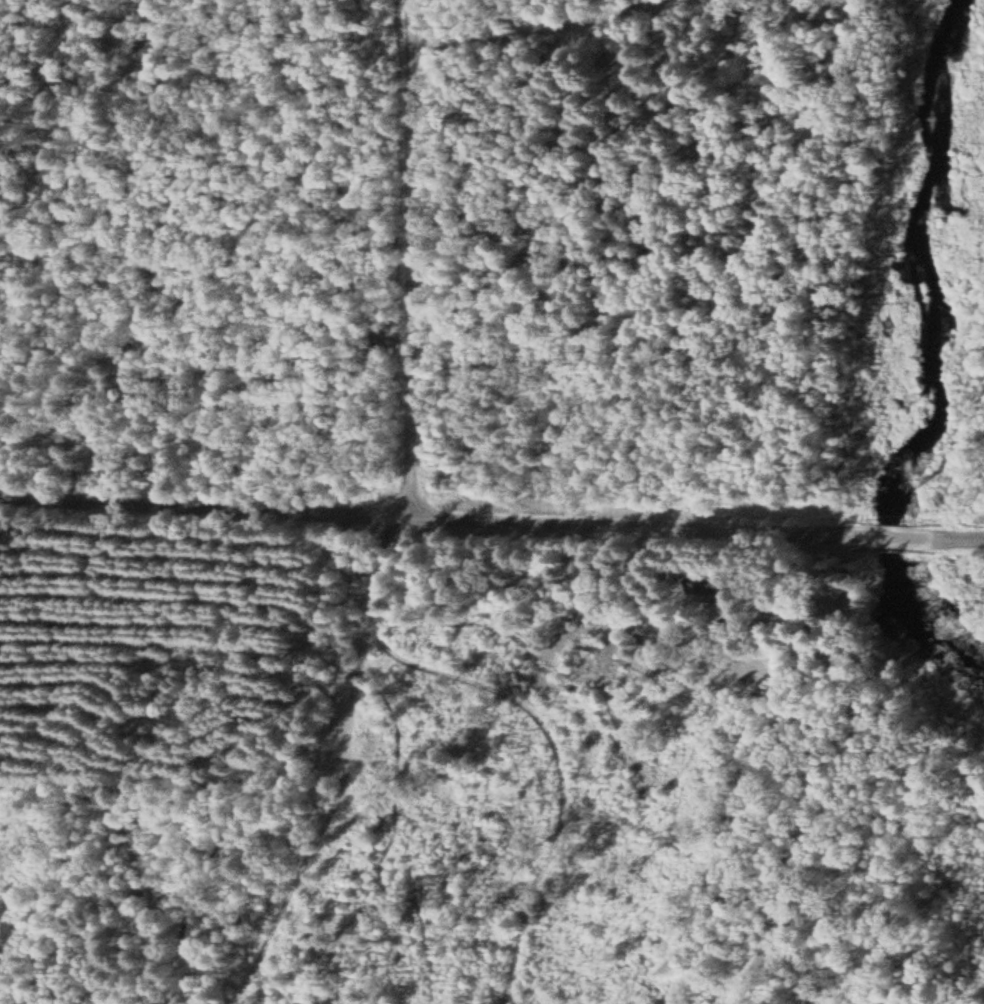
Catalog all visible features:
road: (585, 27)
road: (414, 258)
river: (932, 265)
road: (207, 505)
road: (631, 526)
road: (893, 537)
road: (960, 538)
river: (890, 539)
building: (712, 585)
road: (413, 589)
river: (919, 633)
road: (355, 653)
road: (337, 767)
road: (546, 794)
road: (182, 823)

